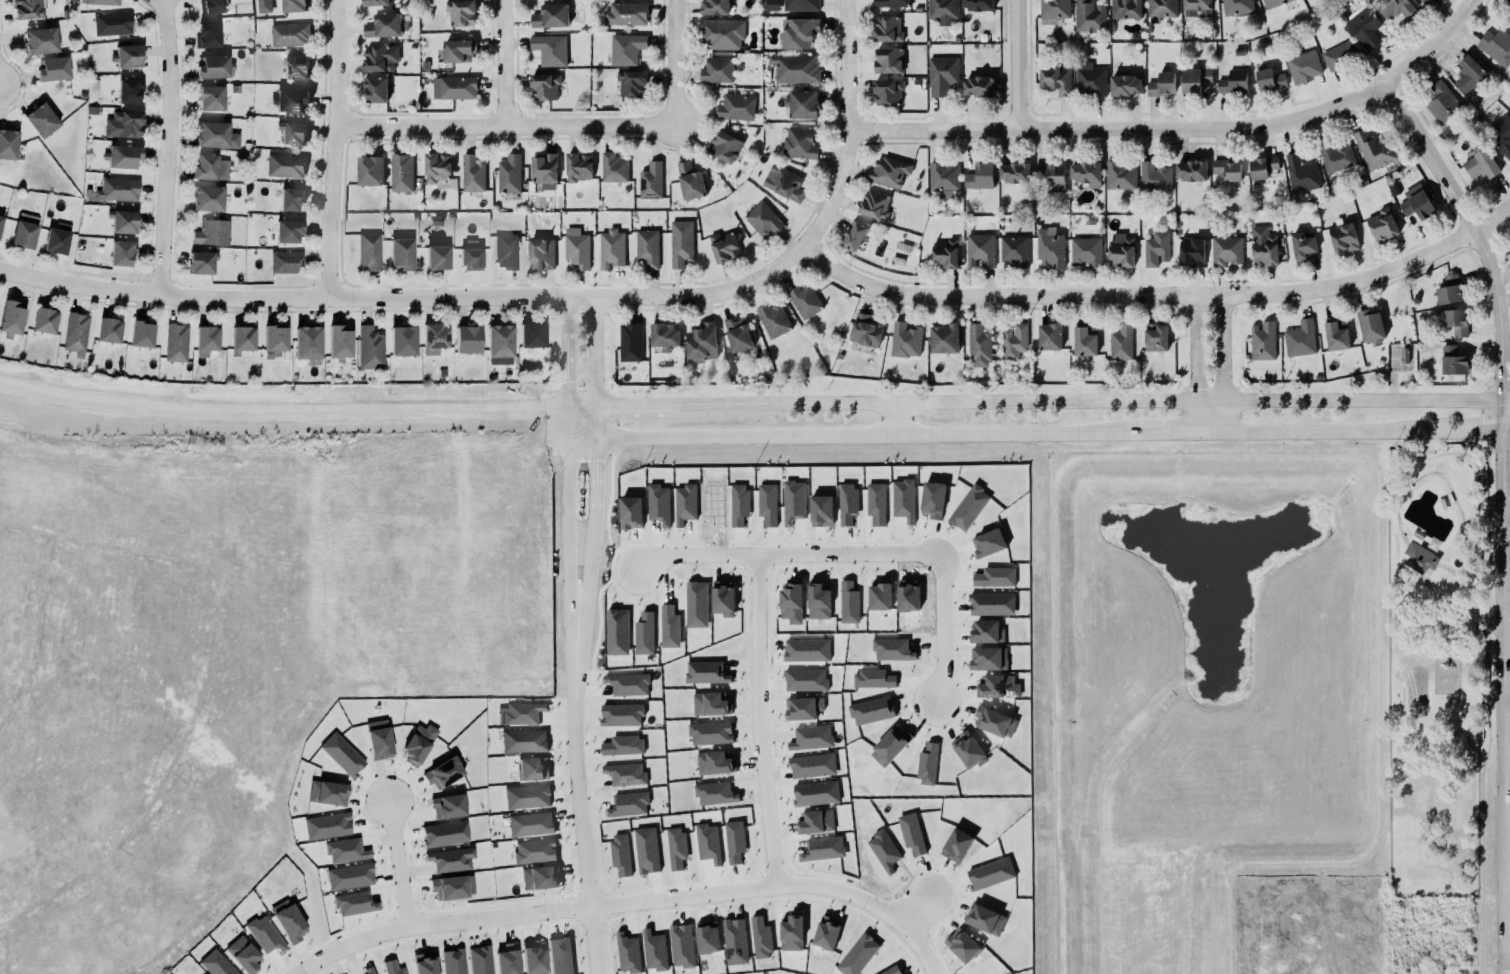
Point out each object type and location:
building: (1423, 1)
building: (99, 2)
building: (376, 2)
building: (891, 2)
building: (1271, 2)
building: (978, 4)
building: (293, 5)
building: (772, 5)
building: (801, 5)
building: (209, 6)
building: (1236, 6)
building: (1507, 6)
building: (714, 7)
building: (1197, 8)
building: (1395, 8)
building: (29, 9)
building: (1126, 9)
building: (1160, 9)
building: (1054, 10)
building: (941, 11)
building: (461, 12)
building: (624, 13)
building: (549, 15)
building: (1088, 15)
building: (1508, 22)
building: (113, 24)
building: (384, 24)
building: (1364, 27)
building: (886, 28)
building: (799, 32)
building: (723, 33)
building: (290, 34)
building: (206, 35)
building: (39, 41)
road: (1432, 45)
building: (1495, 45)
building: (548, 47)
building: (625, 48)
building: (457, 49)
building: (1339, 55)
building: (128, 57)
building: (380, 57)
building: (888, 60)
road: (673, 61)
road: (503, 64)
road: (1023, 64)
road: (845, 65)
building: (212, 66)
building: (1304, 66)
building: (295, 67)
building: (51, 68)
building: (796, 68)
building: (715, 69)
building: (1469, 73)
building: (942, 75)
building: (1089, 77)
building: (1055, 78)
building: (1195, 80)
building: (1270, 80)
building: (1233, 82)
building: (632, 83)
building: (1160, 84)
building: (543, 85)
building: (1123, 85)
building: (977, 86)
building: (454, 87)
building: (376, 89)
building: (130, 90)
building: (886, 91)
building: (208, 97)
building: (289, 100)
building: (801, 103)
building: (1443, 103)
building: (734, 106)
building: (1509, 109)
building: (40, 119)
building: (122, 124)
road: (505, 127)
road: (1118, 127)
building: (291, 133)
building: (210, 134)
building: (1503, 134)
building: (798, 141)
building: (7, 143)
road: (166, 146)
building: (723, 146)
road: (334, 149)
building: (1374, 149)
building: (121, 156)
building: (1334, 157)
building: (1480, 164)
building: (284, 165)
building: (435, 166)
building: (209, 167)
building: (579, 167)
building: (612, 167)
building: (1264, 167)
building: (542, 168)
building: (368, 170)
building: (1191, 170)
building: (1228, 170)
building: (889, 171)
building: (1085, 171)
building: (1015, 172)
building: (402, 173)
building: (471, 173)
building: (507, 173)
building: (1300, 173)
building: (1050, 174)
building: (1120, 174)
building: (942, 176)
building: (979, 176)
building: (1153, 176)
building: (649, 180)
building: (688, 181)
building: (784, 183)
building: (116, 189)
building: (205, 198)
building: (290, 198)
building: (1416, 203)
building: (874, 205)
road: (1492, 218)
building: (762, 219)
building: (1, 221)
building: (121, 221)
building: (1381, 224)
road: (1473, 229)
building: (23, 231)
building: (287, 231)
building: (210, 232)
building: (853, 235)
building: (1343, 237)
building: (54, 241)
building: (679, 241)
building: (723, 245)
building: (1049, 245)
building: (1262, 246)
building: (1304, 246)
building: (577, 247)
building: (612, 248)
building: (647, 248)
building: (1156, 248)
building: (979, 249)
building: (1013, 250)
building: (1121, 250)
building: (1225, 250)
building: (506, 251)
building: (1086, 251)
building: (1191, 251)
building: (369, 252)
building: (122, 253)
building: (540, 253)
building: (400, 254)
building: (946, 254)
building: (469, 255)
building: (436, 258)
building: (285, 262)
building: (199, 263)
building: (1450, 290)
road: (1141, 296)
road: (473, 299)
building: (803, 300)
building: (10, 318)
building: (772, 319)
building: (43, 320)
building: (1455, 322)
building: (1371, 326)
building: (108, 330)
building: (865, 330)
building: (74, 333)
building: (142, 334)
building: (663, 334)
building: (739, 334)
building: (1335, 334)
building: (532, 335)
building: (433, 336)
building: (1050, 336)
building: (1155, 337)
building: (944, 338)
building: (1299, 338)
building: (466, 339)
building: (906, 339)
building: (207, 340)
building: (242, 340)
building: (274, 340)
building: (1015, 340)
building: (403, 341)
building: (500, 341)
building: (629, 341)
building: (1083, 341)
building: (1261, 341)
building: (339, 342)
building: (700, 342)
building: (1121, 342)
building: (176, 343)
building: (306, 344)
building: (980, 346)
building: (368, 348)
road: (564, 353)
road: (592, 353)
building: (1405, 355)
building: (1452, 361)
road: (1196, 363)
road: (1223, 364)
road: (1506, 397)
road: (1198, 399)
road: (710, 405)
road: (896, 418)
road: (1506, 429)
road: (1322, 430)
road: (1469, 430)
road: (1168, 431)
road: (840, 432)
road: (274, 438)
road: (1484, 443)
road: (1485, 448)
road: (1449, 452)
road: (1392, 483)
road: (1469, 497)
building: (903, 498)
building: (794, 501)
building: (659, 503)
building: (685, 503)
building: (631, 512)
road: (567, 530)
road: (589, 530)
road: (1486, 534)
road: (913, 556)
road: (1401, 557)
building: (1419, 557)
road: (1461, 559)
road: (1442, 562)
road: (1432, 564)
road: (1398, 568)
road: (1475, 573)
building: (995, 576)
road: (1430, 588)
building: (880, 596)
building: (723, 598)
building: (819, 601)
building: (849, 602)
building: (992, 603)
building: (696, 604)
road: (1418, 606)
road: (1396, 616)
road: (1424, 617)
parking lot: (1455, 623)
road: (1486, 624)
road: (1475, 625)
building: (670, 626)
road: (1405, 628)
road: (1425, 629)
building: (985, 631)
road: (35, 634)
building: (645, 634)
road: (1411, 638)
road: (1451, 644)
building: (892, 649)
road: (1419, 649)
building: (807, 650)
building: (988, 658)
road: (755, 660)
park: (1439, 669)
building: (706, 672)
building: (873, 678)
road: (208, 679)
building: (805, 679)
road: (1400, 681)
building: (628, 684)
park: (1416, 684)
road: (1502, 685)
road: (1506, 685)
building: (999, 686)
road: (1477, 689)
building: (711, 703)
road: (1487, 703)
building: (804, 708)
building: (872, 710)
building: (523, 713)
building: (622, 714)
road: (1434, 730)
building: (711, 733)
building: (812, 737)
building: (522, 738)
building: (379, 740)
building: (621, 742)
building: (418, 744)
building: (969, 750)
building: (340, 752)
road: (1415, 757)
building: (715, 762)
building: (531, 764)
building: (813, 765)
building: (441, 769)
building: (626, 774)
road: (1471, 788)
building: (328, 793)
building: (715, 793)
building: (816, 793)
building: (525, 794)
building: (629, 804)
building: (447, 806)
road: (579, 814)
building: (528, 821)
building: (816, 821)
building: (327, 826)
building: (444, 834)
road: (1432, 834)
building: (735, 841)
building: (709, 842)
building: (677, 847)
building: (533, 848)
building: (823, 848)
building: (345, 850)
building: (647, 850)
building: (450, 859)
road: (391, 865)
road: (1472, 873)
road: (1480, 874)
building: (349, 876)
building: (540, 877)
road: (778, 884)
building: (451, 887)
building: (354, 903)
road: (913, 909)
building: (986, 919)
building: (288, 921)
road: (437, 922)
building: (827, 931)
building: (791, 933)
building: (264, 934)
building: (708, 936)
building: (761, 936)
building: (735, 941)
building: (682, 945)
building: (963, 945)
building: (655, 950)
building: (531, 952)
building: (558, 953)
building: (628, 953)
building: (858, 954)
building: (243, 955)
building: (508, 959)
building: (480, 960)
building: (453, 962)
building: (424, 963)
building: (216, 964)
building: (392, 967)
building: (368, 970)
building: (892, 970)
building: (204, 973)

